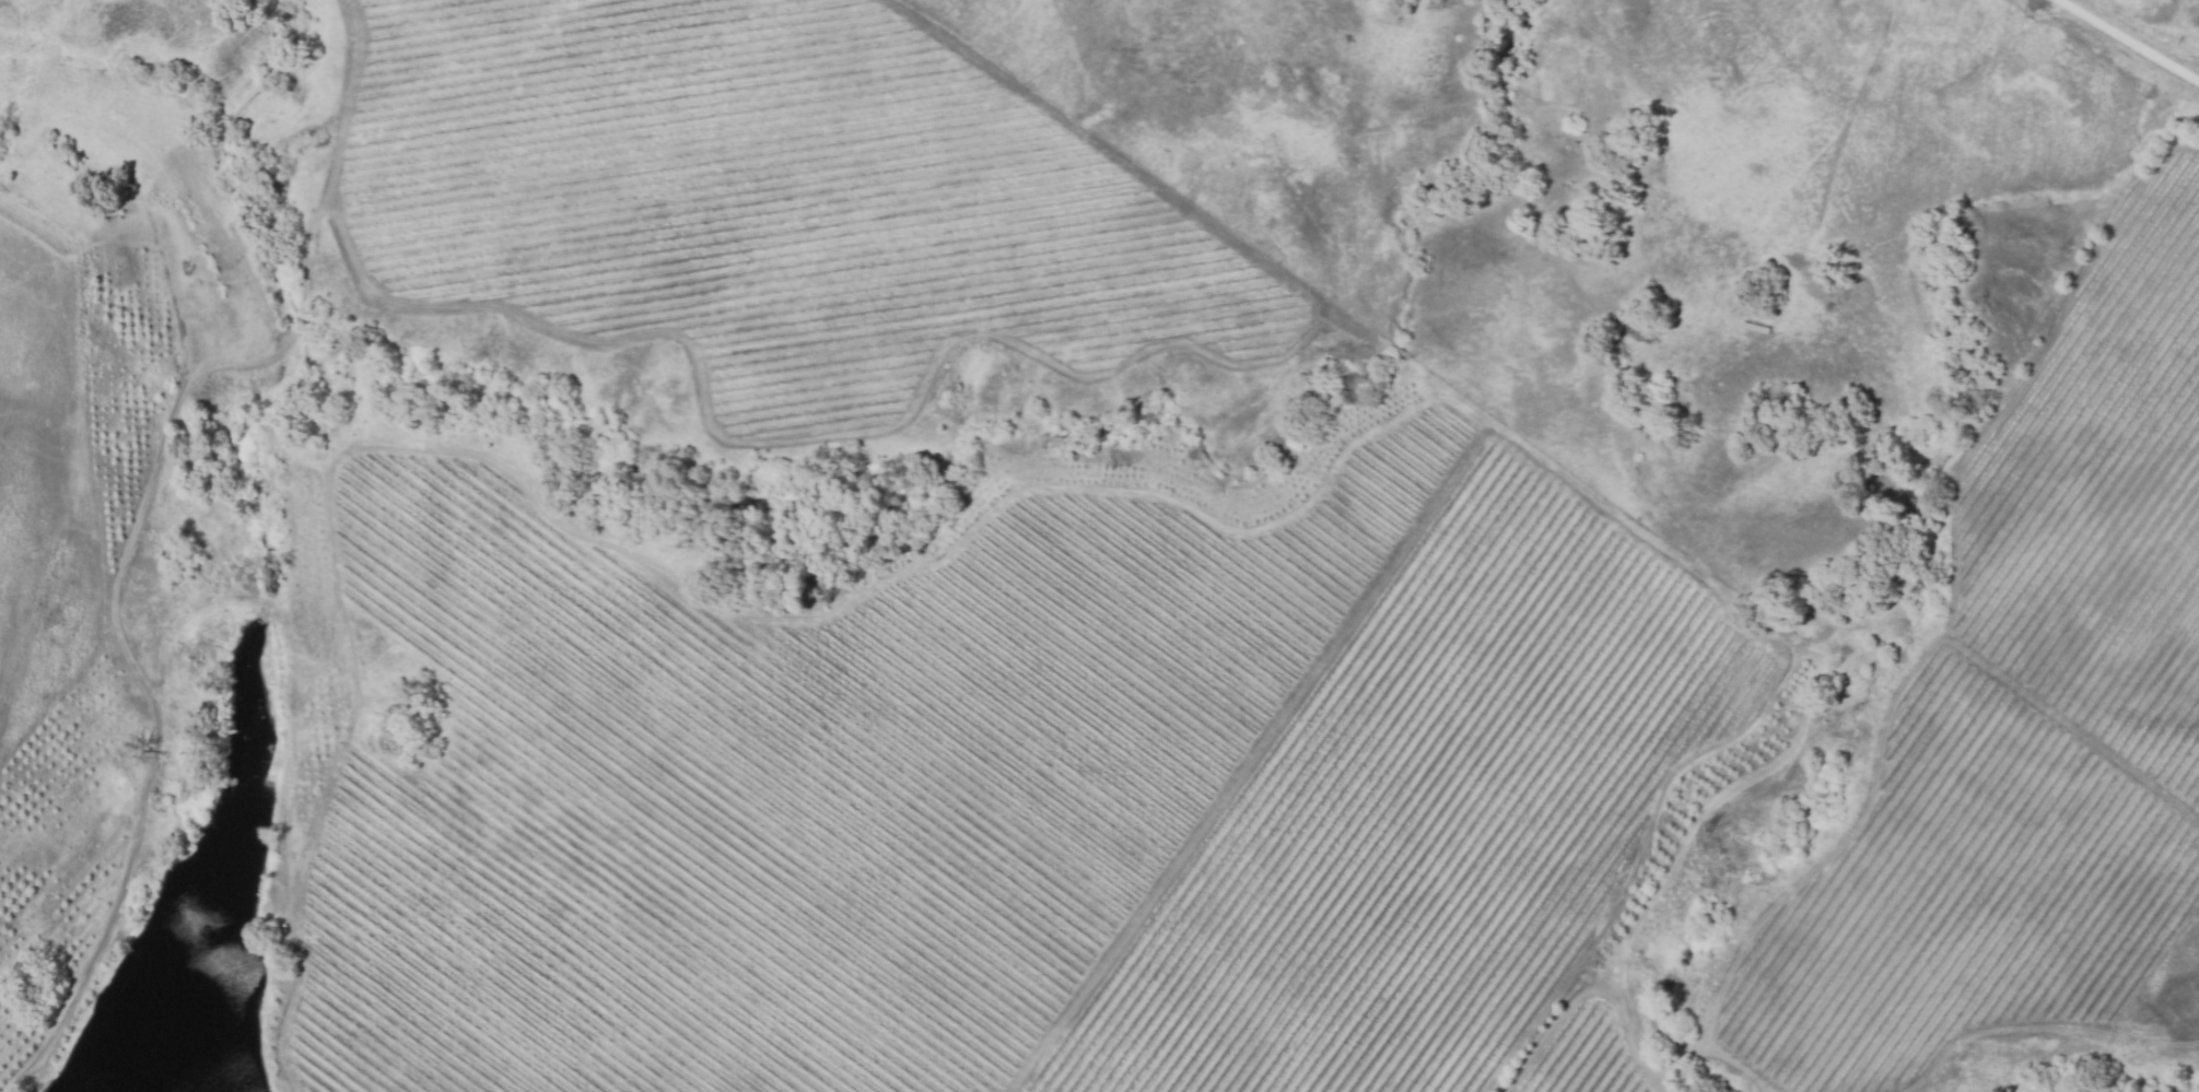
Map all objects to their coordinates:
road: (2130, 42)

